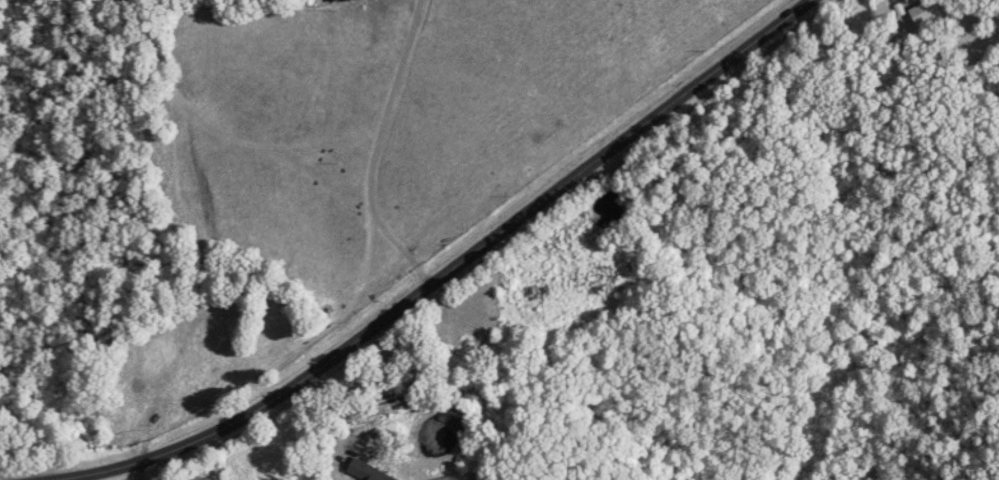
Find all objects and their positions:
building: (921, 12)
road: (454, 267)
building: (370, 472)
building: (457, 478)

